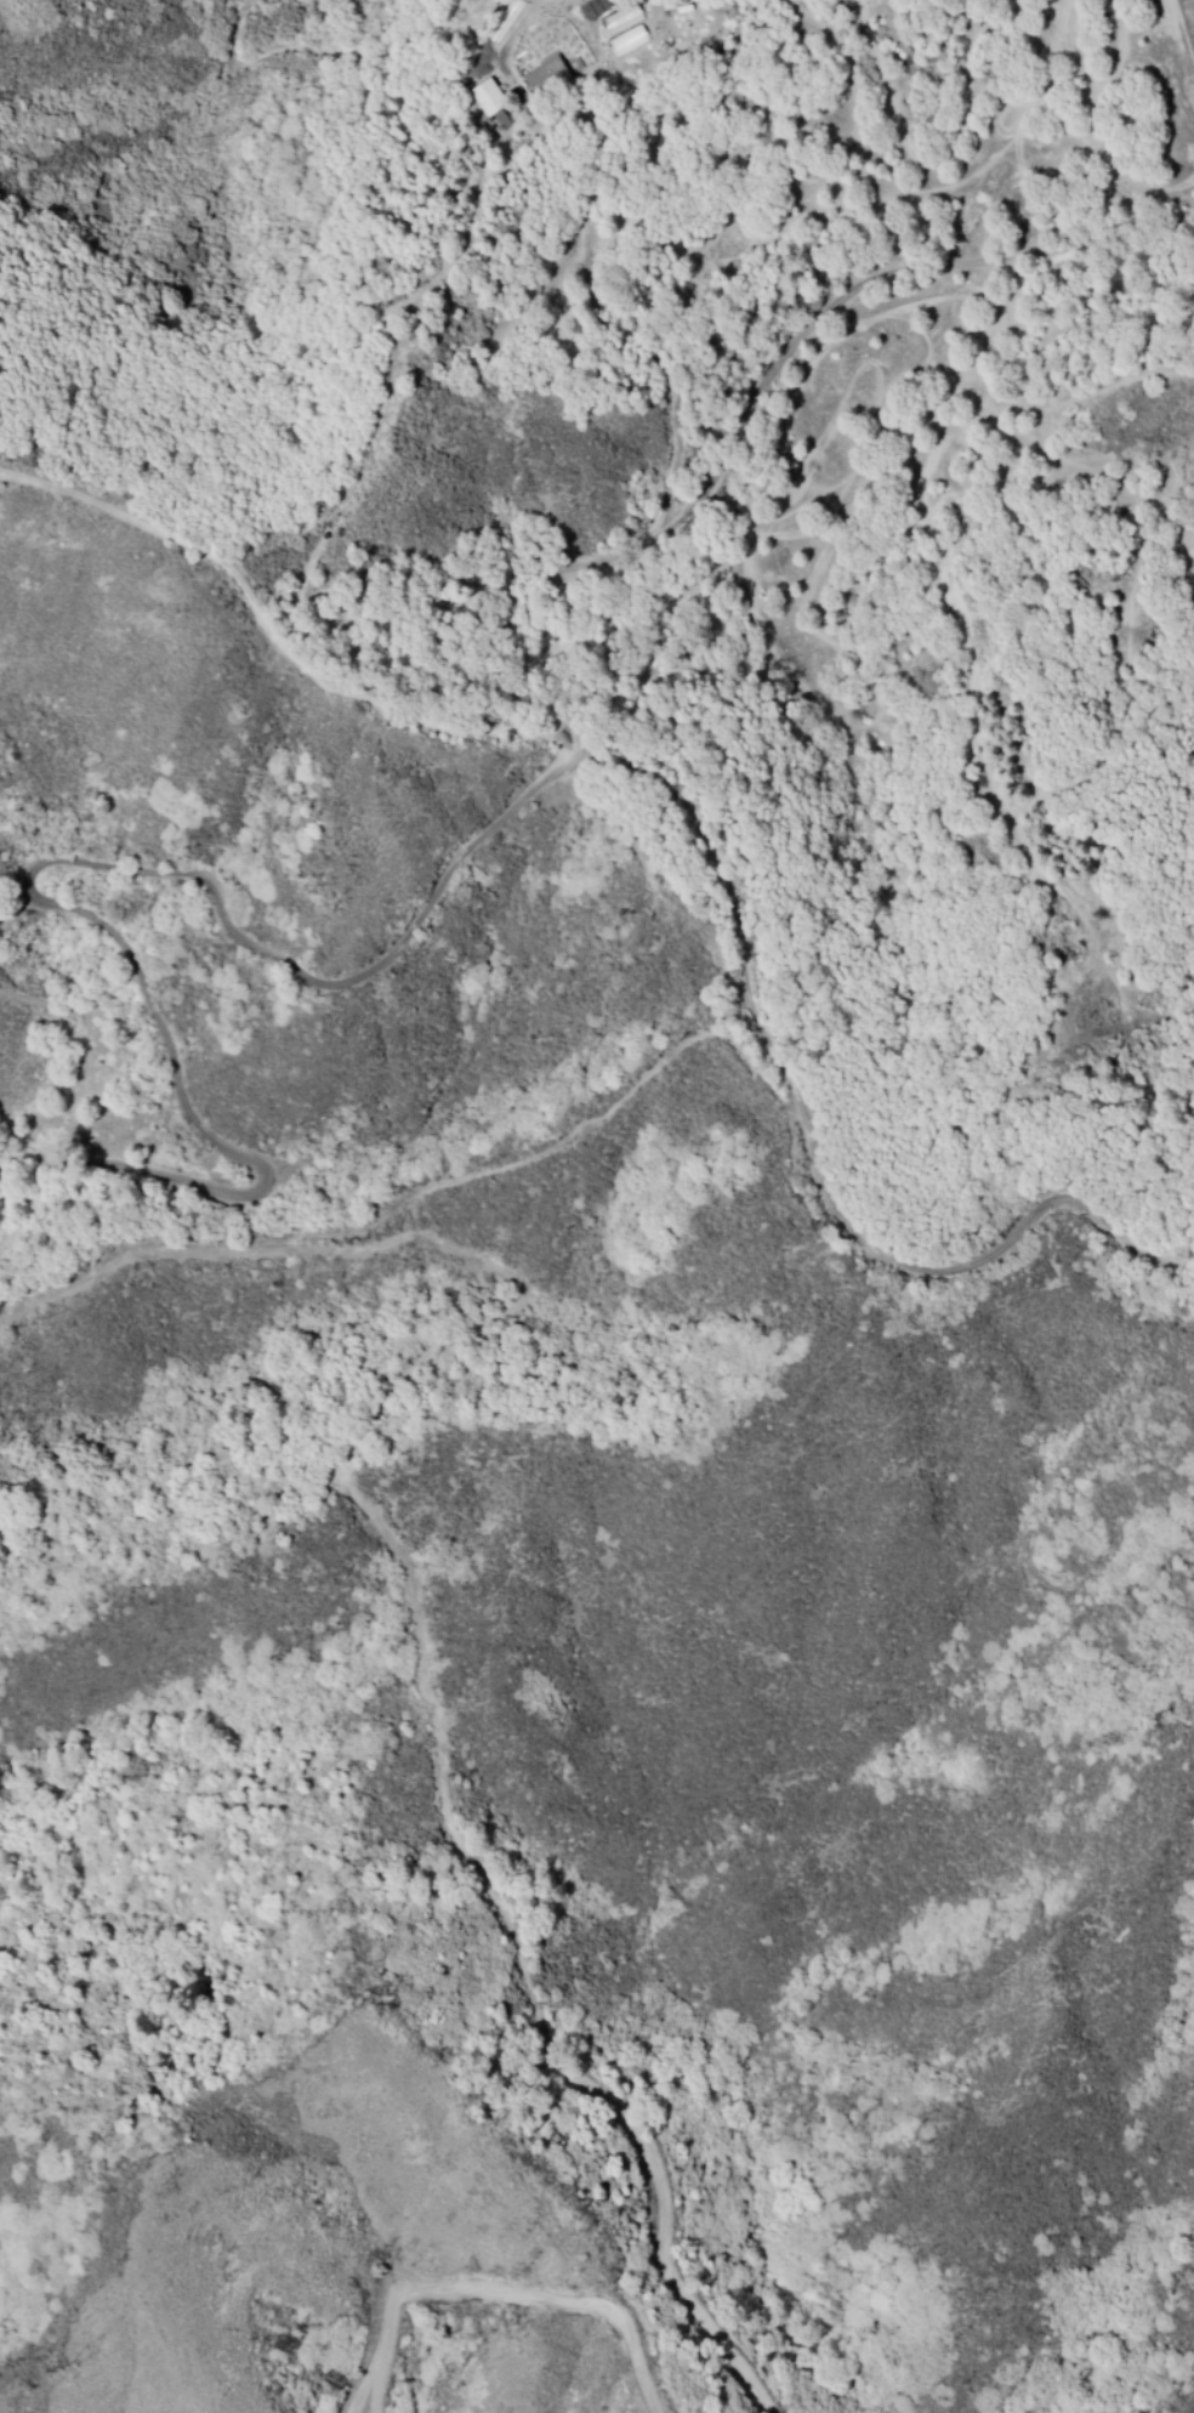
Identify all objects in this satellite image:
building: (601, 11)
building: (551, 79)
building: (495, 106)
road: (1007, 260)
road: (599, 560)
road: (273, 637)
road: (64, 864)
road: (729, 884)
road: (552, 1147)
road: (27, 1148)
road: (119, 1264)
road: (963, 1268)
road: (430, 1708)

